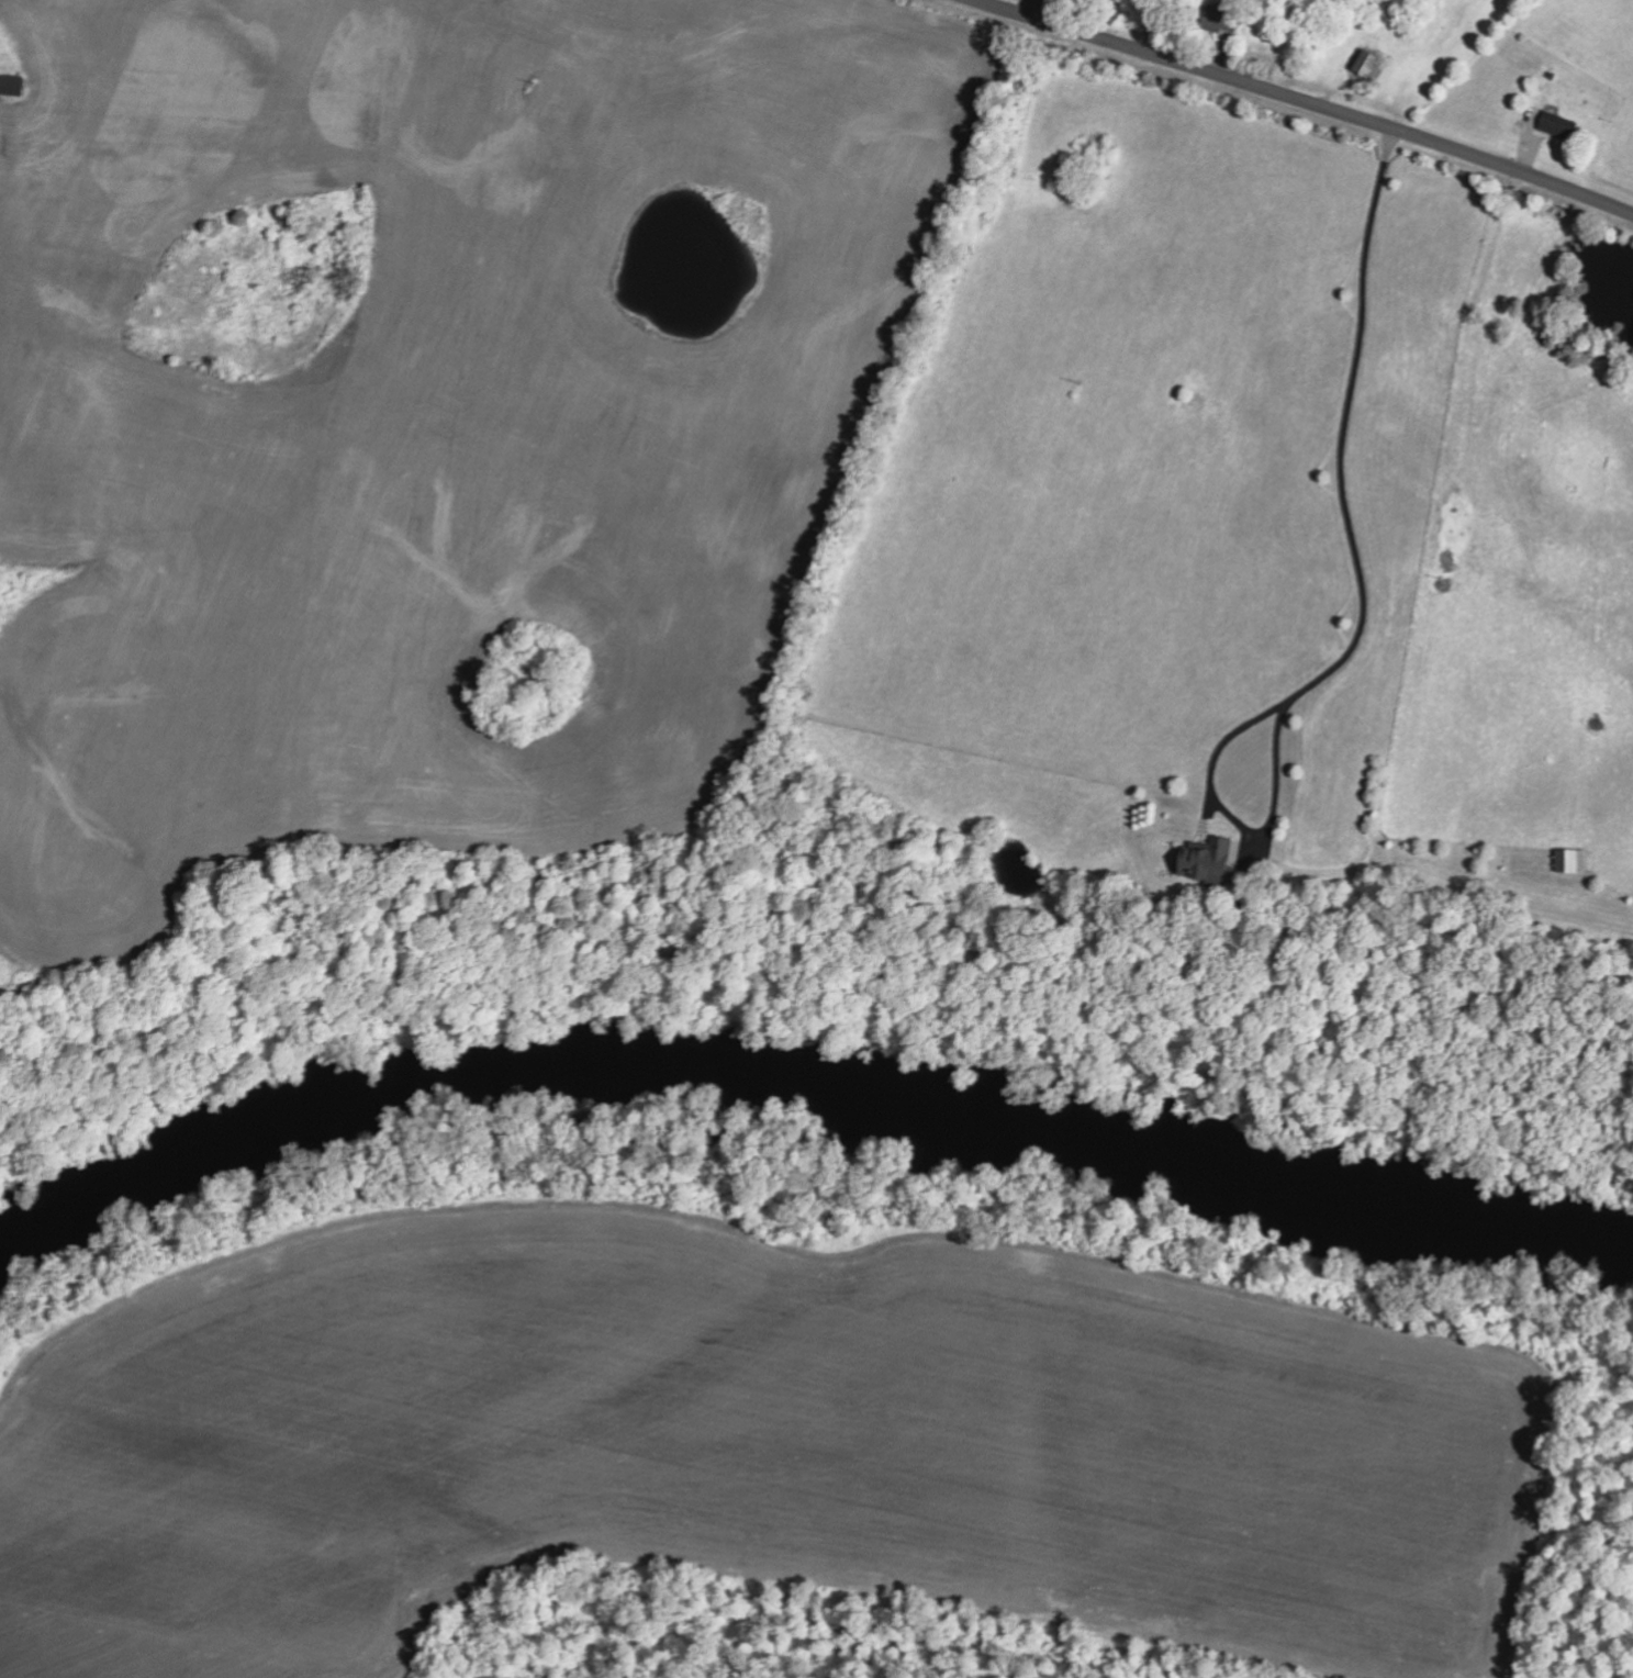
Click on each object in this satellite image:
road: (1029, 8)
building: (1218, 15)
building: (1365, 61)
road: (1306, 101)
building: (1557, 124)
road: (1362, 593)
building: (1207, 860)
building: (1570, 861)
river: (804, 1103)

